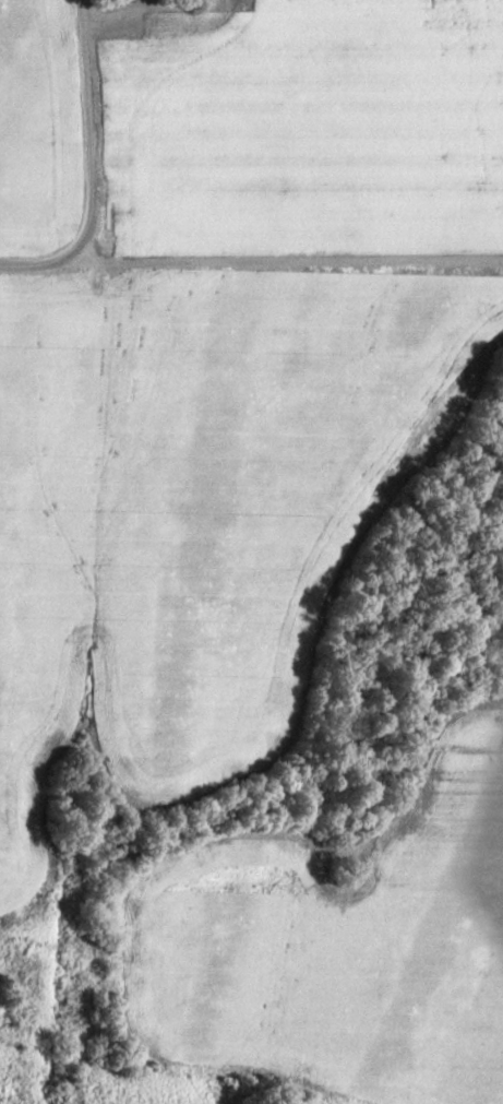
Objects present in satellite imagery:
road: (83, 153)
road: (10, 264)

